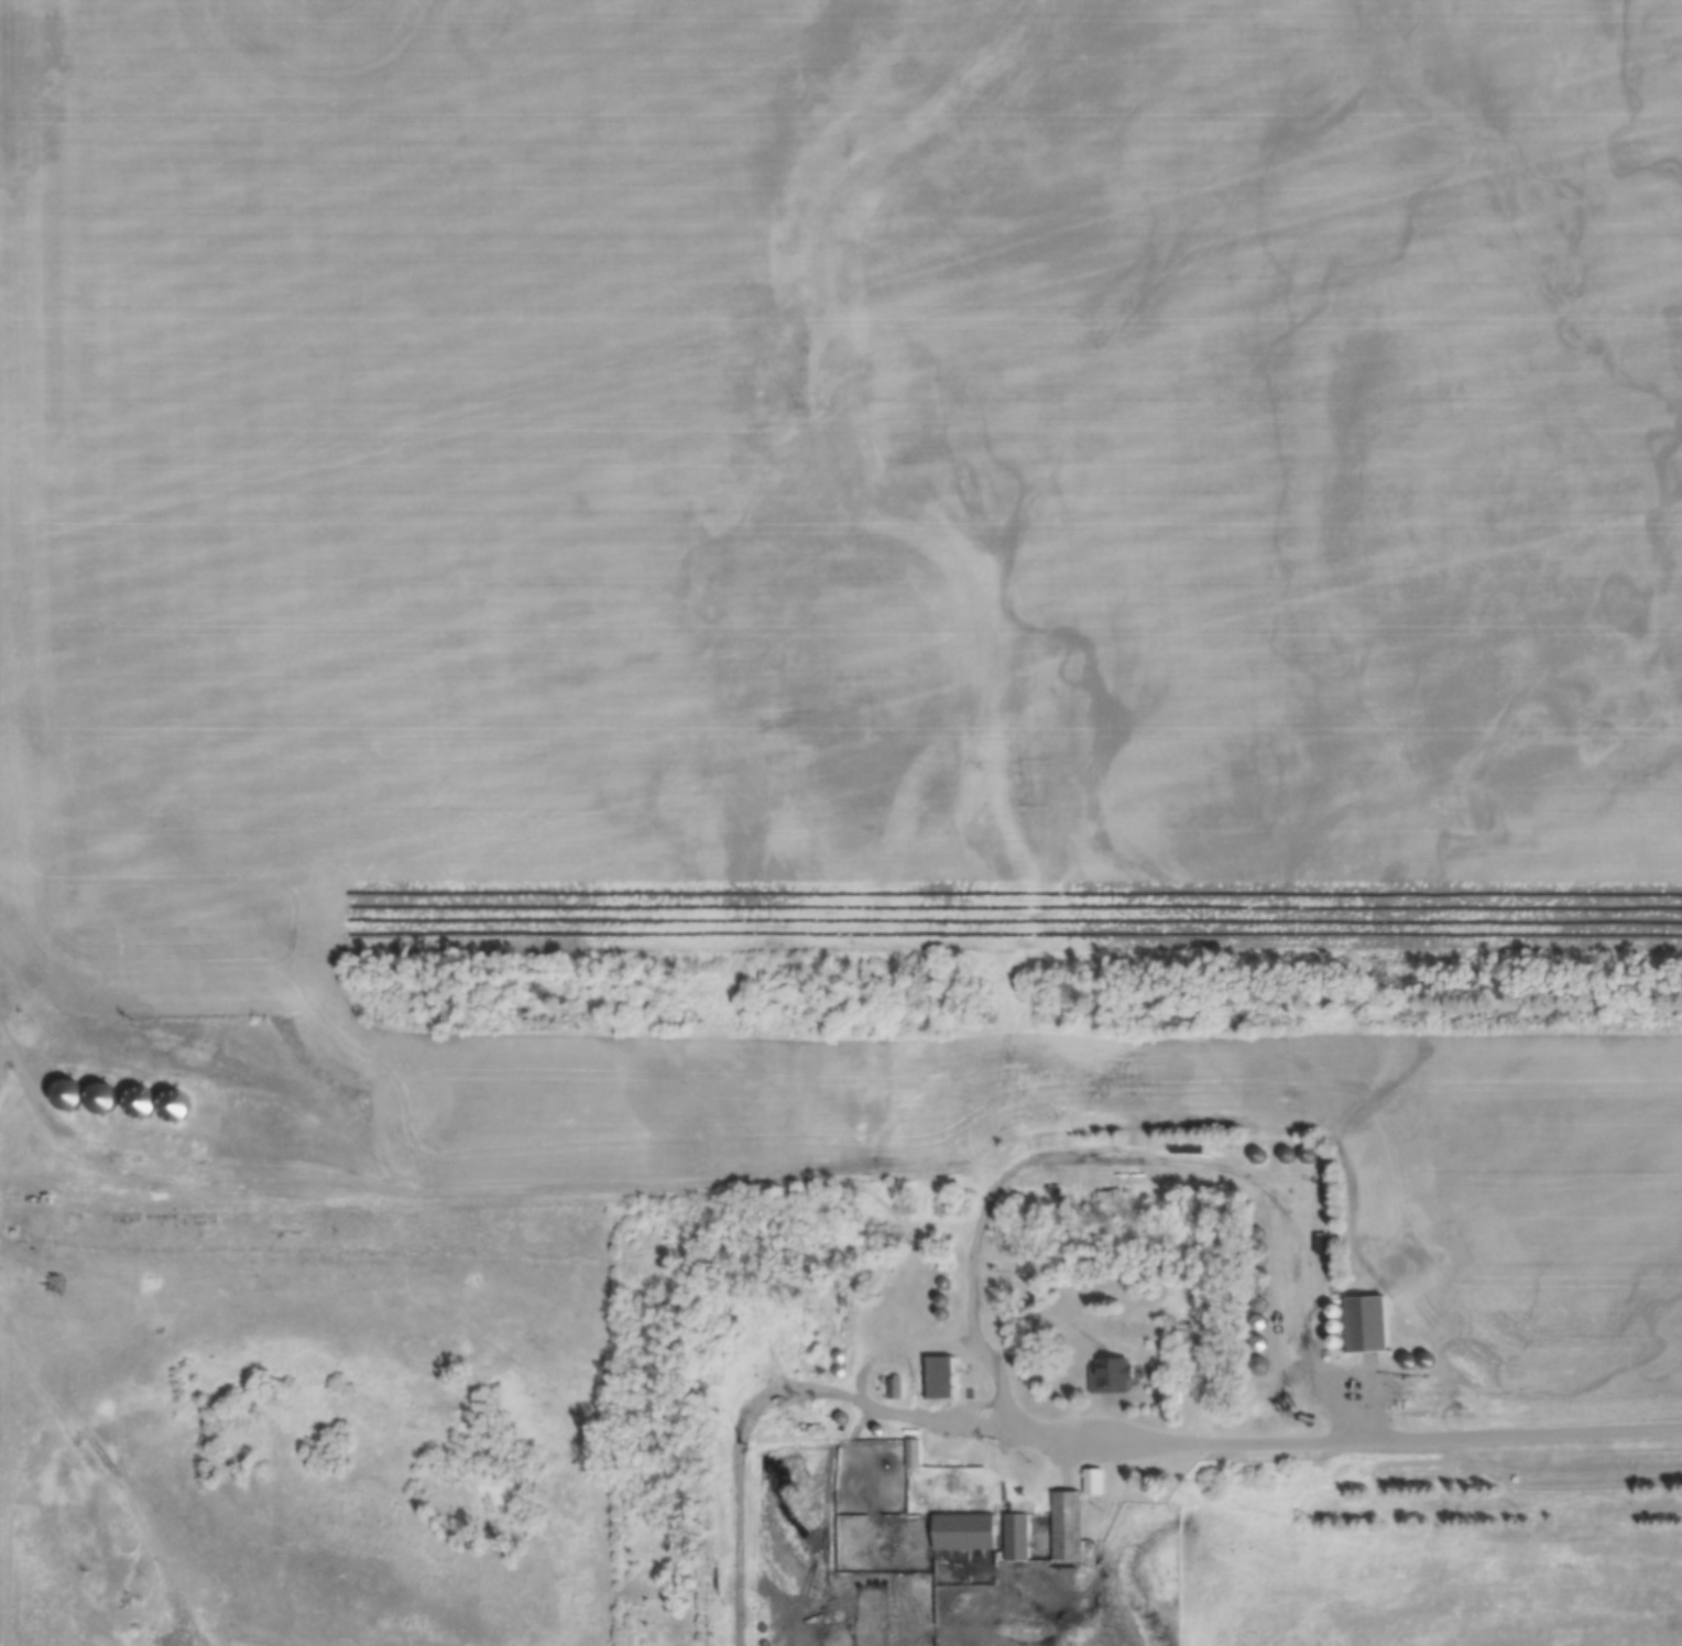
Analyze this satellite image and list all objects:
building: (73, 1095)
road: (348, 1164)
building: (1367, 1326)
building: (1112, 1376)
building: (940, 1380)
road: (1385, 1439)
building: (1092, 1484)
road: (103, 1492)
building: (1067, 1527)
building: (965, 1534)
building: (1016, 1539)

